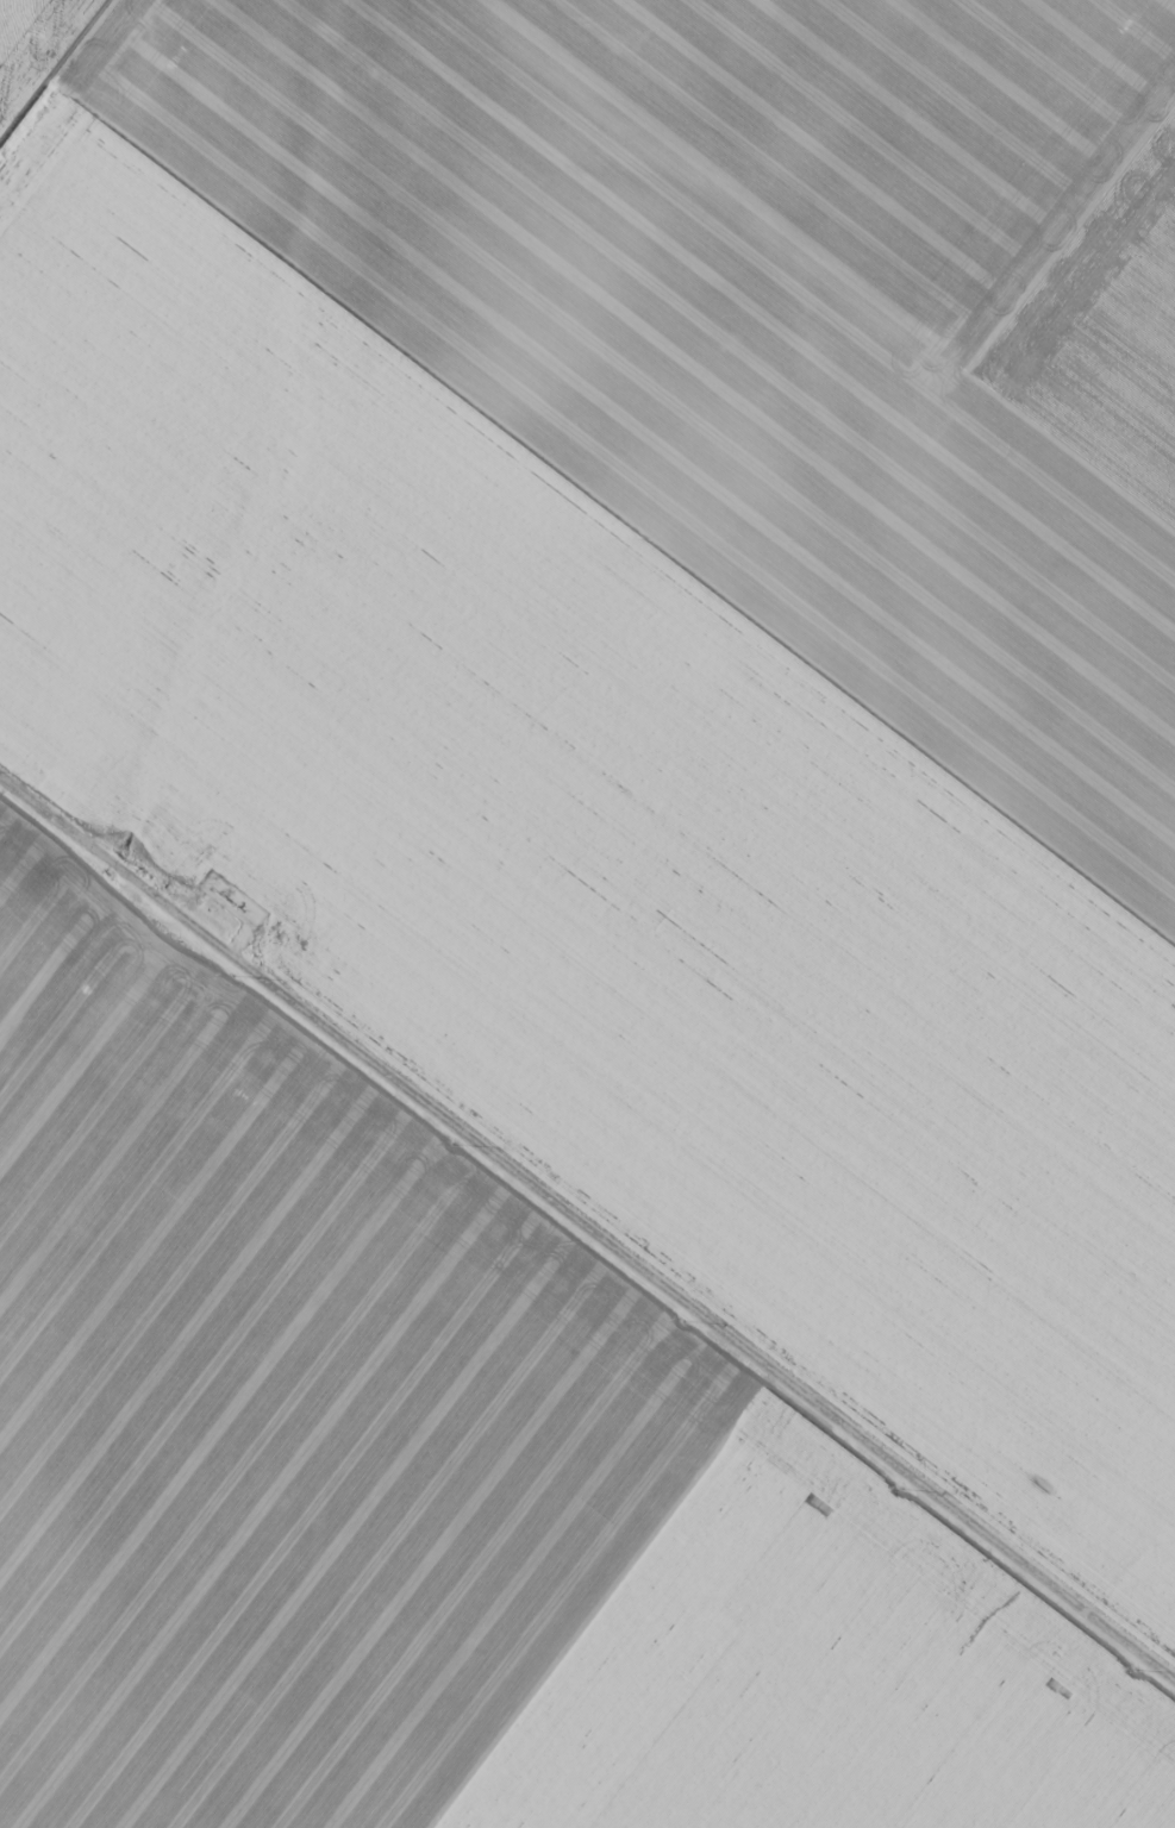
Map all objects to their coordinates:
road: (587, 1219)

